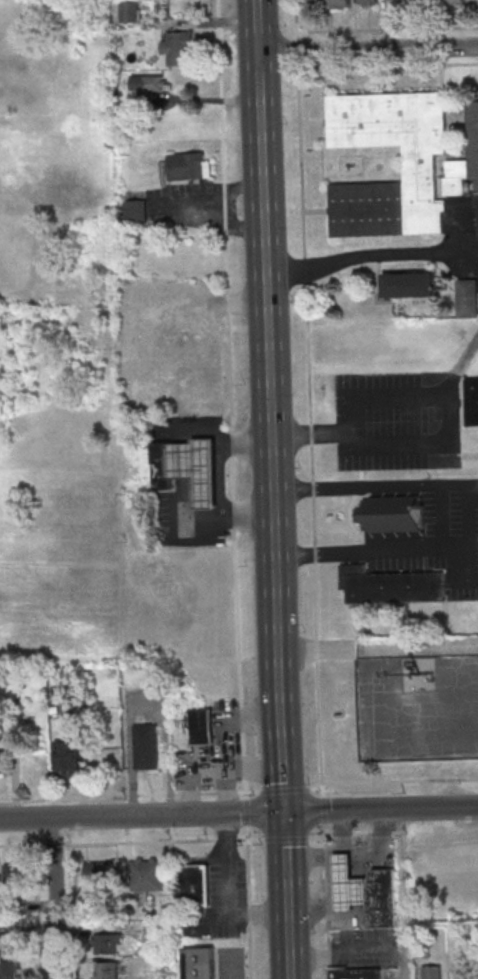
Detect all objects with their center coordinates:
building: (394, 0)
building: (422, 1)
building: (311, 2)
building: (367, 2)
building: (454, 2)
building: (339, 5)
building: (128, 12)
road: (387, 28)
building: (179, 48)
road: (367, 49)
road: (387, 65)
building: (147, 85)
building: (465, 163)
building: (189, 166)
building: (418, 168)
building: (136, 211)
road: (370, 256)
building: (409, 285)
building: (466, 298)
building: (164, 337)
road: (266, 347)
building: (472, 402)
parking lot: (397, 421)
road: (445, 441)
road: (310, 457)
building: (164, 465)
building: (197, 469)
road: (221, 484)
road: (234, 489)
building: (390, 514)
road: (469, 515)
building: (391, 586)
parking lot: (419, 712)
building: (202, 726)
building: (145, 746)
road: (280, 753)
building: (65, 758)
building: (2, 762)
road: (399, 780)
road: (284, 790)
road: (122, 795)
traffic signals: (282, 812)
road: (239, 813)
road: (284, 838)
road: (122, 842)
road: (283, 865)
building: (98, 871)
building: (14, 874)
building: (146, 874)
building: (192, 885)
building: (348, 886)
road: (55, 898)
building: (383, 899)
road: (401, 907)
road: (326, 908)
road: (73, 911)
road: (38, 912)
building: (8, 944)
building: (106, 944)
road: (286, 949)
building: (199, 963)
road: (225, 968)
building: (8, 970)
building: (107, 970)
building: (432, 972)
building: (468, 972)
building: (356, 974)

